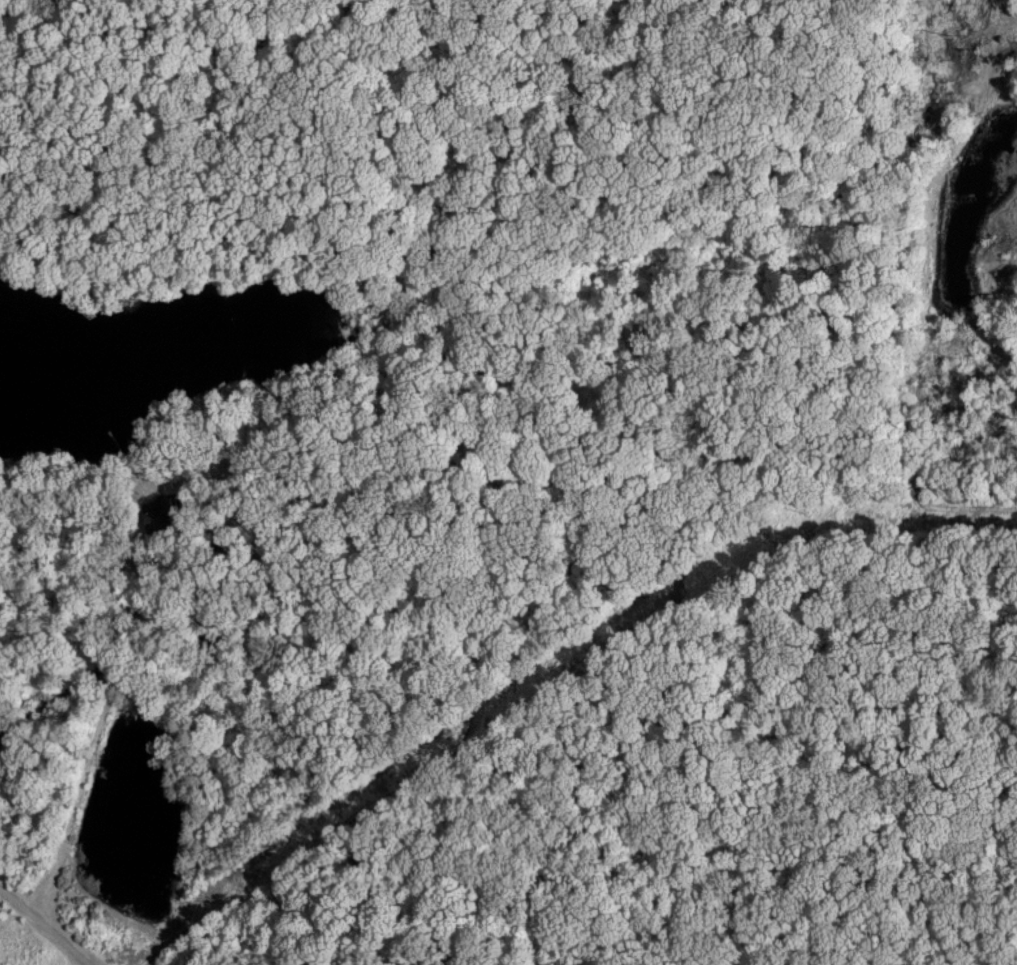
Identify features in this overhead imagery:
road: (29, 660)

